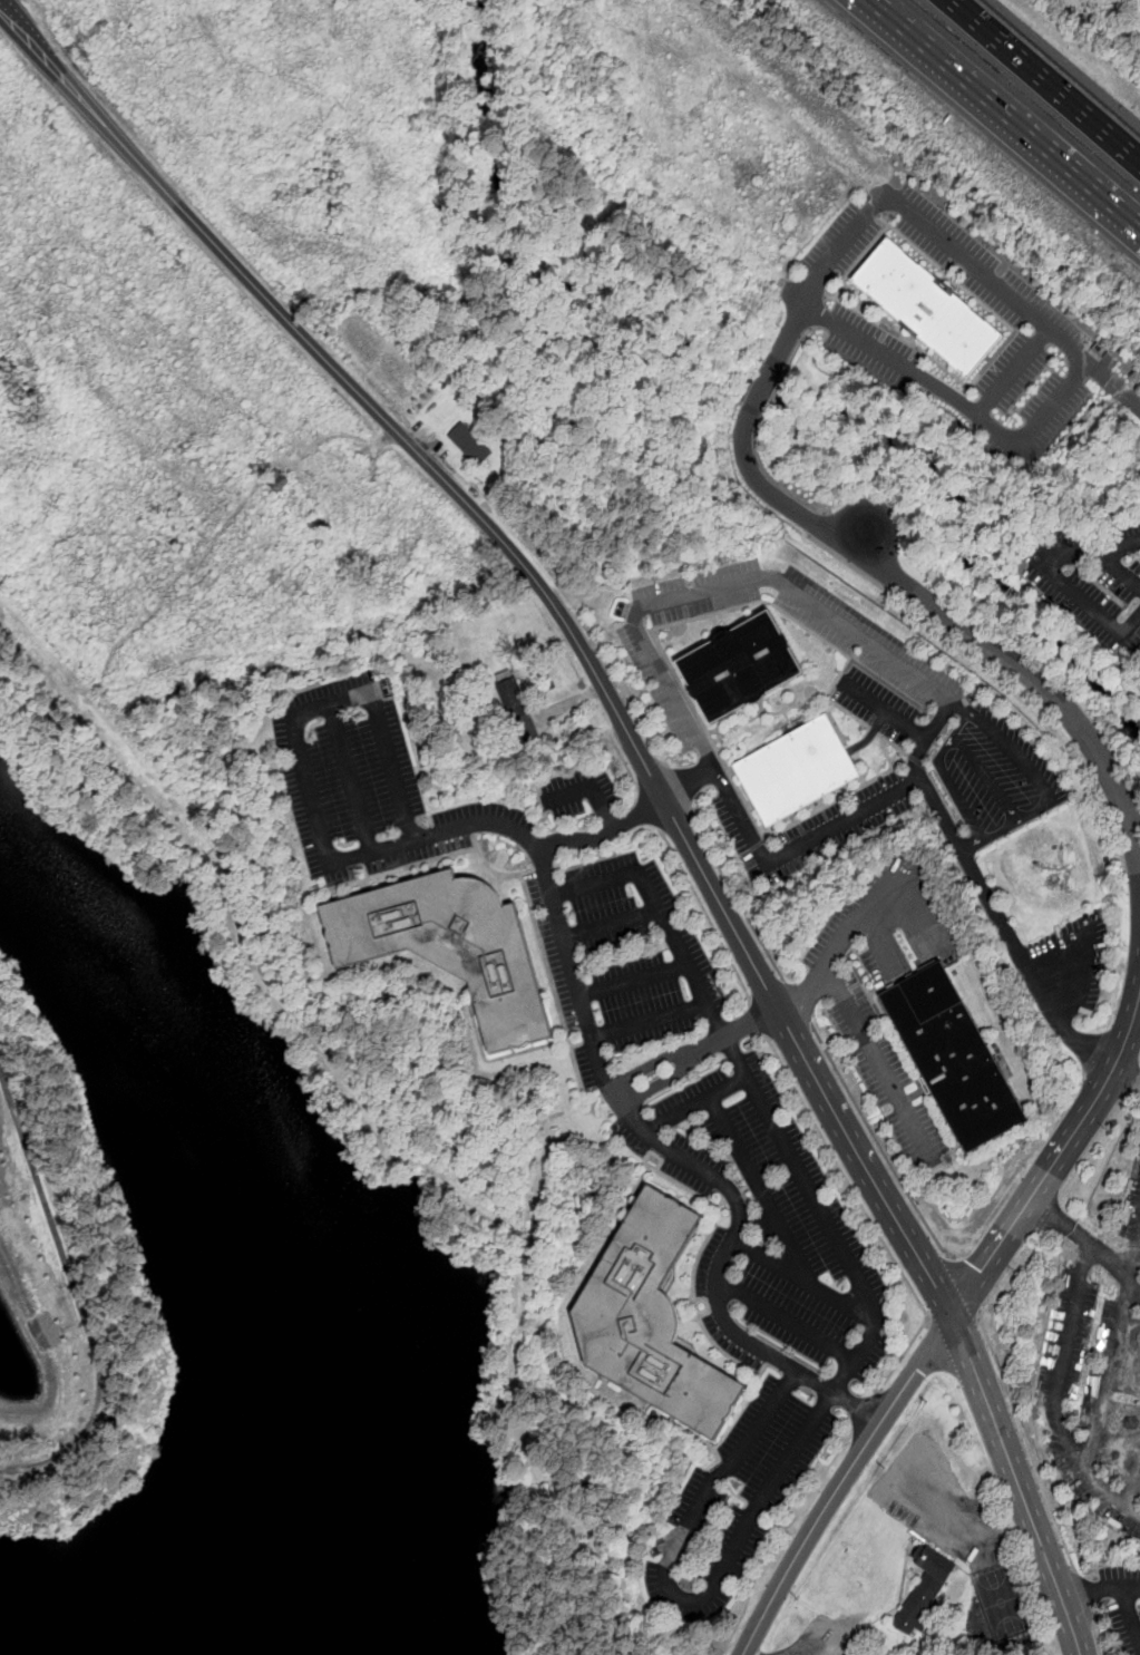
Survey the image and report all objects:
road: (1055, 70)
road: (1012, 108)
building: (929, 308)
parking lot: (849, 327)
road: (790, 331)
road: (1074, 352)
road: (1013, 372)
road: (1113, 386)
road: (764, 387)
building: (470, 444)
building: (279, 481)
road: (773, 497)
road: (1118, 566)
road: (1052, 572)
parking lot: (1091, 578)
road: (557, 610)
road: (832, 619)
parking lot: (874, 645)
building: (738, 665)
road: (1031, 674)
road: (624, 693)
road: (883, 707)
road: (624, 762)
building: (796, 769)
parking lot: (995, 775)
road: (349, 778)
parking lot: (354, 781)
road: (679, 786)
road: (588, 787)
road: (973, 790)
parking lot: (579, 792)
road: (649, 809)
parking lot: (485, 820)
parking lot: (815, 828)
road: (603, 833)
road: (768, 864)
road: (735, 896)
road: (994, 905)
road: (556, 907)
road: (708, 916)
road: (608, 924)
road: (841, 945)
building: (449, 946)
road: (879, 947)
parking lot: (1075, 957)
parking lot: (623, 958)
road: (631, 980)
road: (797, 1002)
road: (759, 1019)
road: (647, 1020)
road: (698, 1052)
building: (953, 1057)
road: (879, 1065)
road: (693, 1102)
parking lot: (662, 1142)
road: (877, 1143)
road: (1053, 1165)
road: (756, 1182)
road: (868, 1216)
parking lot: (790, 1224)
road: (1119, 1254)
road: (806, 1279)
road: (964, 1288)
road: (77, 1298)
parking lot: (717, 1302)
building: (650, 1320)
road: (787, 1321)
road: (870, 1334)
road: (1112, 1343)
parking lot: (1098, 1366)
road: (1054, 1395)
road: (864, 1412)
road: (1023, 1440)
road: (1132, 1474)
road: (841, 1484)
road: (1022, 1489)
parking lot: (733, 1503)
parking lot: (942, 1506)
road: (956, 1522)
road: (781, 1531)
road: (1100, 1587)
building: (925, 1589)
road: (1084, 1594)
parking lot: (1123, 1604)
road: (1131, 1613)
road: (1099, 1637)
road: (826, 1649)

